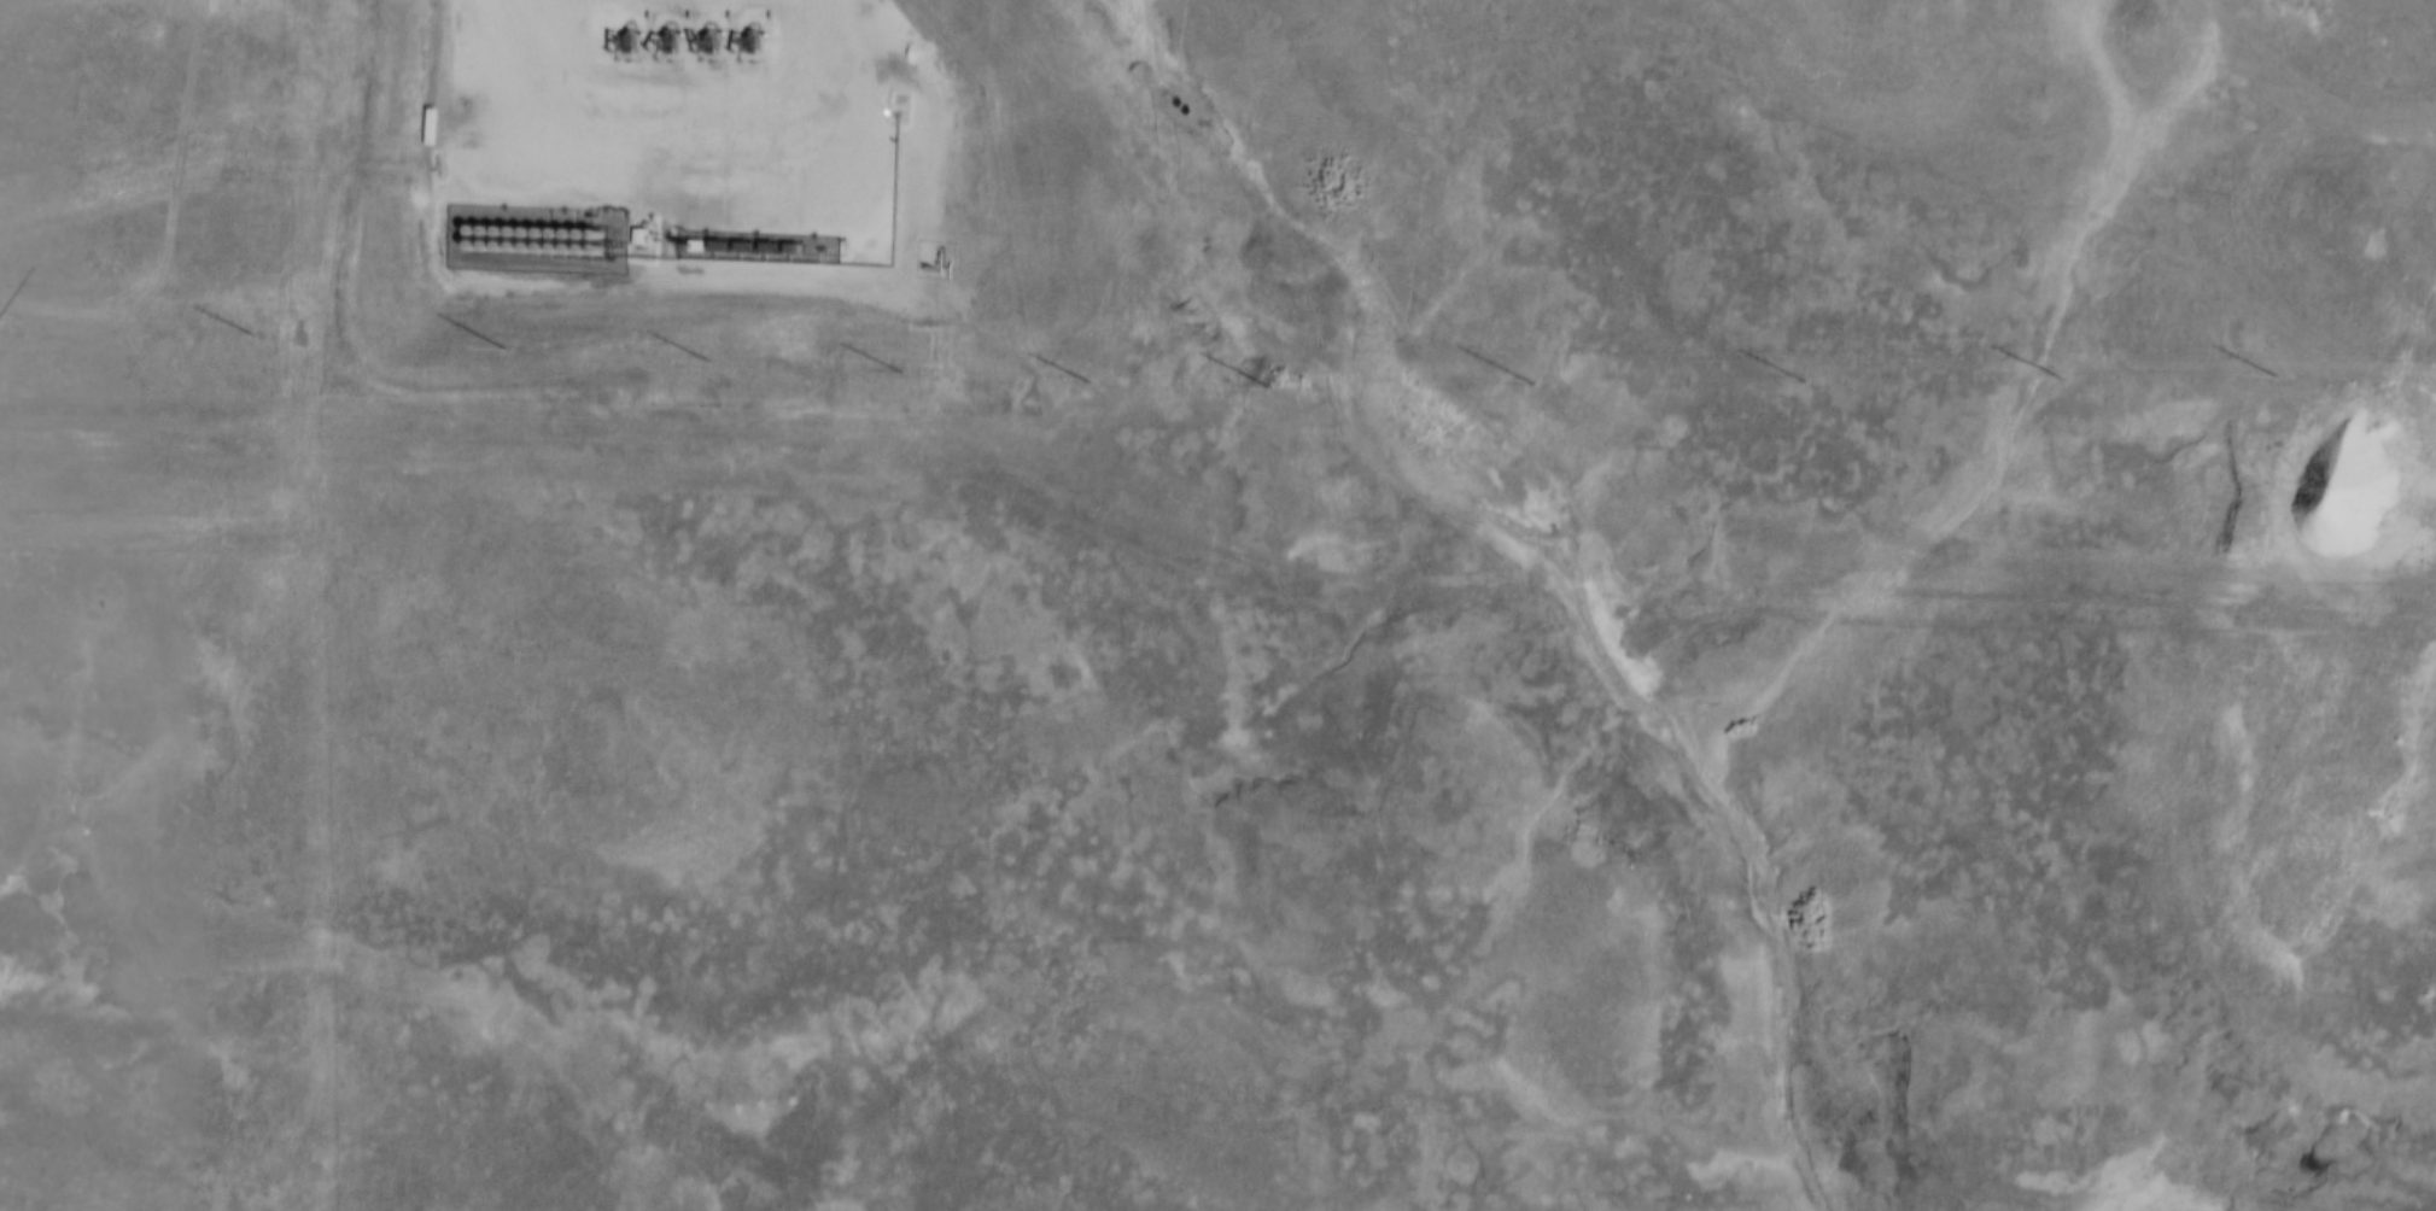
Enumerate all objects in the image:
quarry: (2312, 669)

